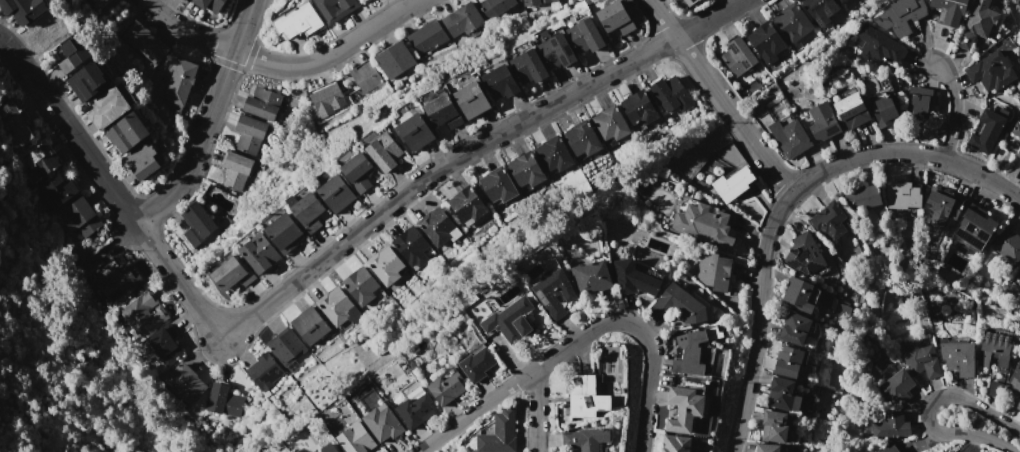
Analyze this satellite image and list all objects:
building: (185, 0)
building: (362, 1)
building: (839, 1)
building: (535, 2)
building: (688, 2)
building: (99, 3)
building: (209, 4)
building: (494, 7)
building: (23, 10)
building: (819, 10)
building: (949, 10)
building: (333, 16)
building: (900, 16)
building: (980, 17)
building: (613, 18)
building: (462, 19)
building: (299, 21)
building: (792, 22)
building: (581, 33)
building: (427, 37)
building: (965, 40)
building: (144, 42)
building: (765, 42)
building: (879, 47)
building: (554, 49)
building: (73, 54)
building: (737, 57)
building: (395, 59)
building: (528, 63)
road: (281, 65)
building: (990, 72)
building: (365, 76)
building: (88, 81)
building: (501, 81)
building: (180, 82)
building: (669, 94)
road: (719, 97)
building: (326, 98)
building: (471, 100)
building: (262, 103)
building: (918, 104)
building: (112, 105)
road: (954, 108)
building: (883, 110)
building: (443, 111)
building: (641, 111)
building: (851, 111)
building: (822, 122)
building: (15, 125)
building: (611, 125)
building: (1016, 130)
building: (129, 131)
building: (986, 131)
building: (416, 132)
building: (248, 135)
building: (788, 136)
building: (583, 142)
building: (384, 152)
building: (1018, 152)
road: (904, 153)
road: (191, 156)
building: (553, 157)
building: (143, 161)
building: (39, 162)
building: (355, 169)
building: (234, 170)
building: (526, 172)
building: (732, 184)
building: (497, 187)
building: (56, 192)
building: (335, 193)
building: (902, 196)
building: (863, 197)
building: (467, 206)
building: (938, 209)
building: (305, 210)
building: (81, 217)
building: (828, 222)
building: (702, 223)
building: (197, 224)
building: (438, 227)
building: (975, 229)
building: (282, 230)
building: (410, 245)
building: (1007, 245)
building: (257, 250)
building: (804, 254)
road: (319, 262)
building: (385, 265)
building: (1019, 266)
building: (714, 272)
building: (229, 273)
building: (591, 277)
building: (632, 278)
building: (119, 282)
building: (359, 286)
building: (553, 292)
building: (798, 295)
building: (681, 305)
building: (337, 307)
building: (143, 314)
building: (510, 321)
road: (758, 322)
building: (309, 325)
building: (794, 328)
road: (641, 331)
building: (163, 345)
building: (286, 348)
building: (692, 350)
building: (994, 350)
building: (958, 358)
building: (922, 361)
building: (788, 362)
building: (477, 363)
building: (264, 372)
building: (1015, 381)
building: (183, 383)
building: (896, 384)
building: (446, 386)
building: (993, 390)
building: (783, 393)
building: (584, 397)
building: (223, 401)
building: (414, 404)
building: (807, 405)
building: (1018, 406)
road: (927, 407)
building: (683, 409)
road: (475, 410)
road: (535, 410)
building: (383, 423)
building: (890, 426)
building: (777, 427)
building: (499, 433)
building: (354, 438)
building: (586, 439)
building: (675, 443)
building: (329, 448)
building: (766, 448)
building: (889, 449)
building: (945, 451)

